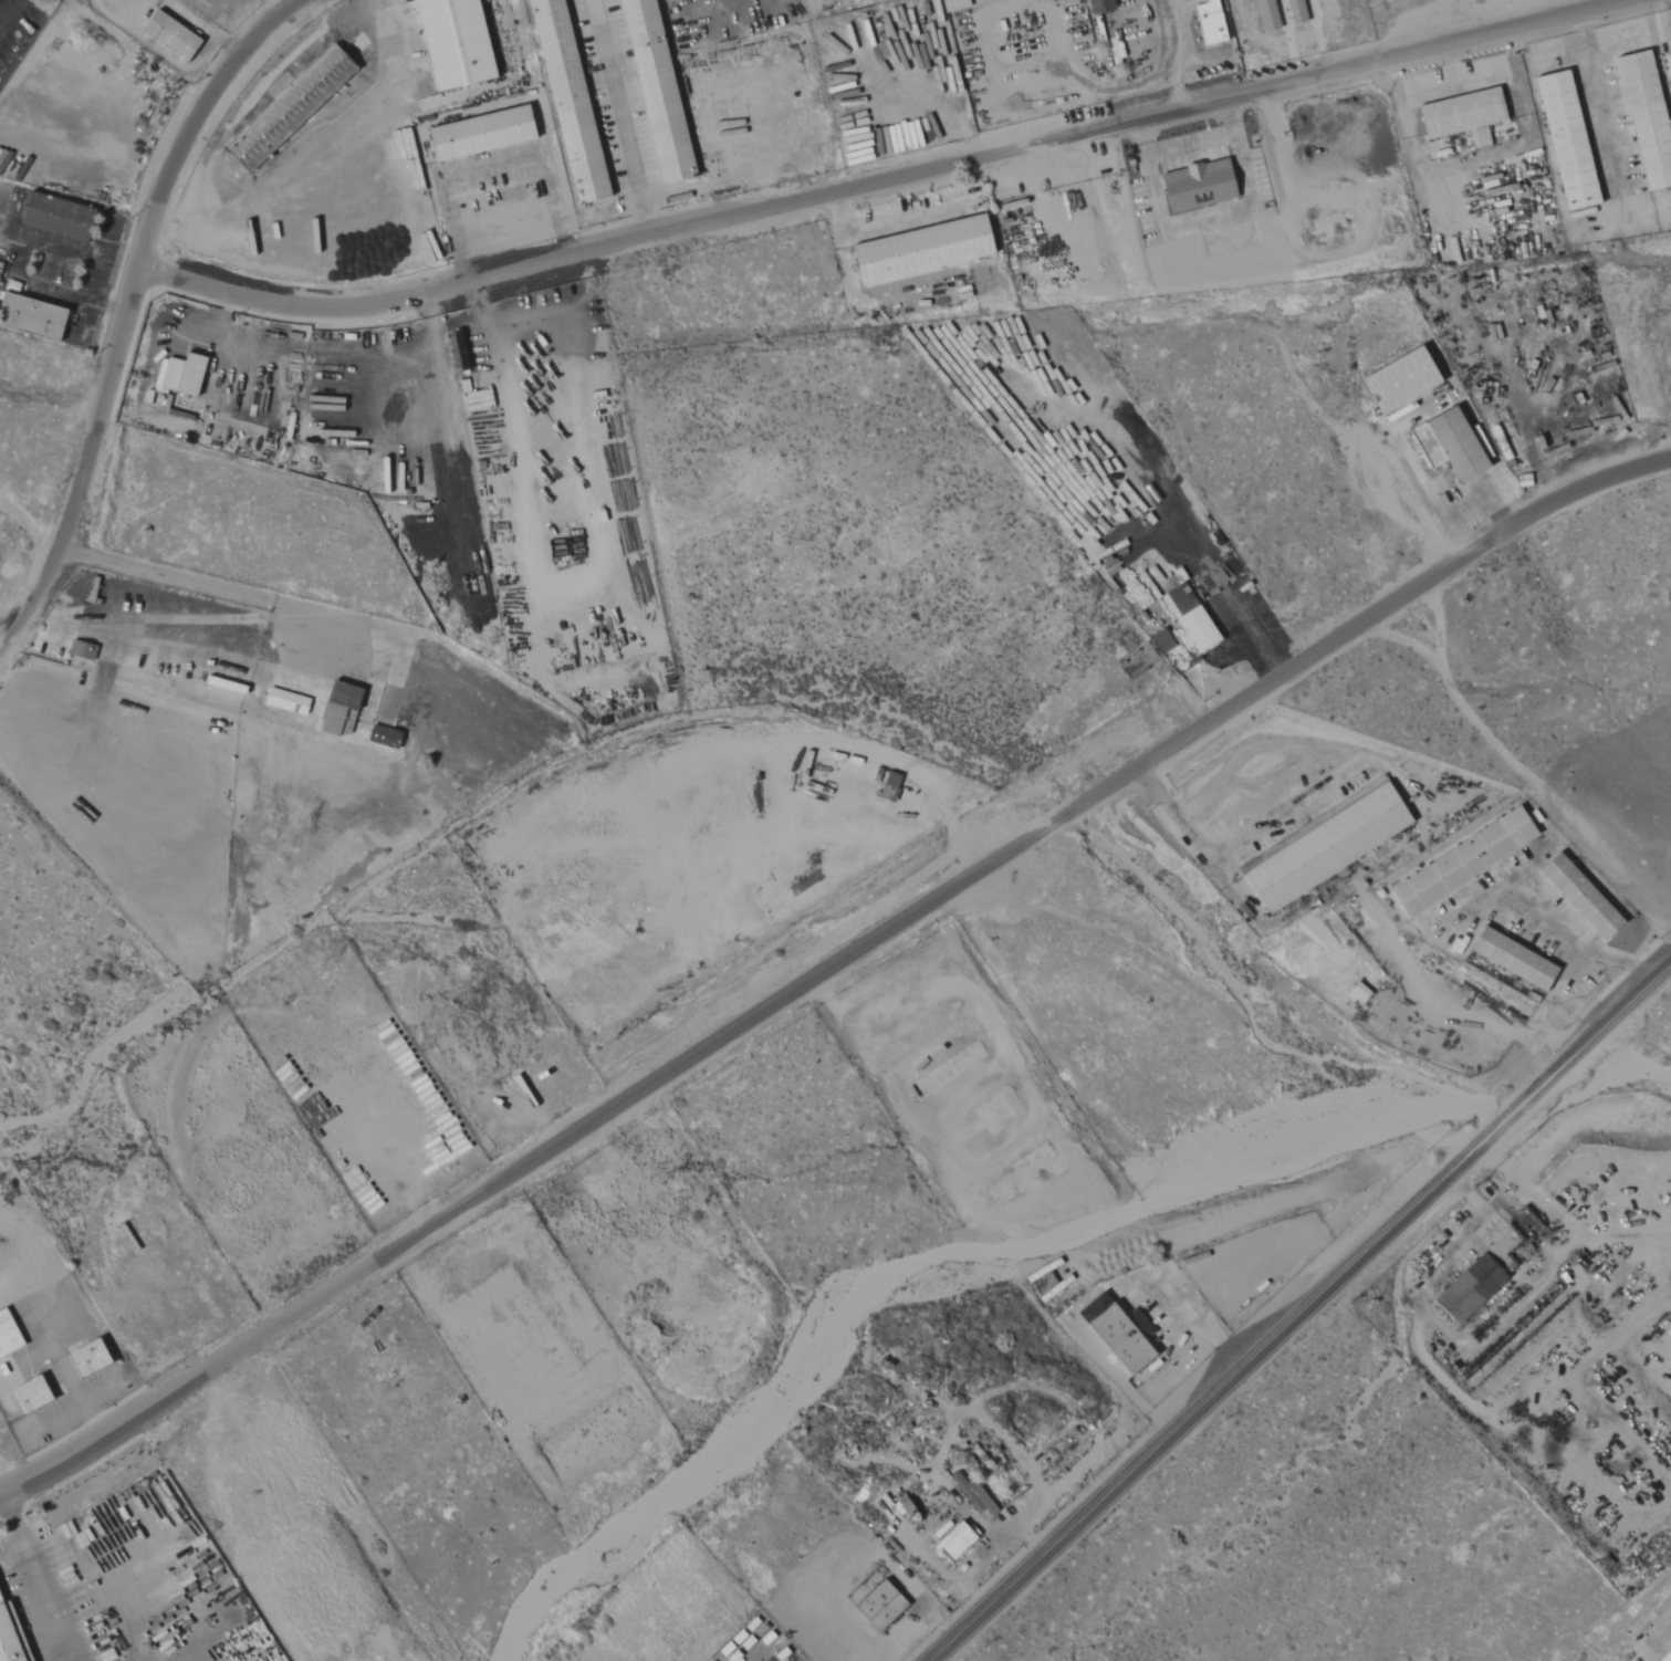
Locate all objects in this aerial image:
building: (821, 1)
building: (951, 4)
road: (3, 6)
building: (1097, 7)
building: (1293, 11)
building: (1264, 15)
building: (1205, 23)
road: (325, 33)
building: (174, 36)
road: (1161, 41)
building: (459, 42)
building: (1667, 63)
building: (660, 88)
road: (1178, 96)
road: (378, 100)
building: (573, 100)
road: (1597, 101)
building: (294, 106)
building: (1459, 117)
road: (626, 118)
building: (1642, 122)
building: (485, 133)
building: (1562, 142)
road: (489, 166)
road: (879, 181)
building: (62, 217)
road: (890, 220)
building: (916, 251)
road: (124, 307)
building: (34, 315)
building: (184, 374)
building: (1393, 383)
building: (1443, 446)
road: (208, 587)
building: (1186, 619)
building: (1158, 641)
building: (84, 650)
building: (344, 709)
building: (387, 738)
building: (891, 786)
road: (1236, 837)
building: (1322, 848)
building: (1458, 861)
building: (1576, 896)
road: (1573, 944)
building: (1508, 959)
road: (828, 963)
building: (1356, 992)
road: (1472, 1221)
road: (1298, 1312)
building: (10, 1333)
building: (1110, 1335)
building: (93, 1357)
building: (33, 1394)
road: (77, 1404)
building: (970, 1494)
road: (14, 1521)
building: (950, 1544)
road: (48, 1598)
building: (876, 1606)
building: (10, 1630)
road: (1648, 1636)
building: (1665, 1654)

